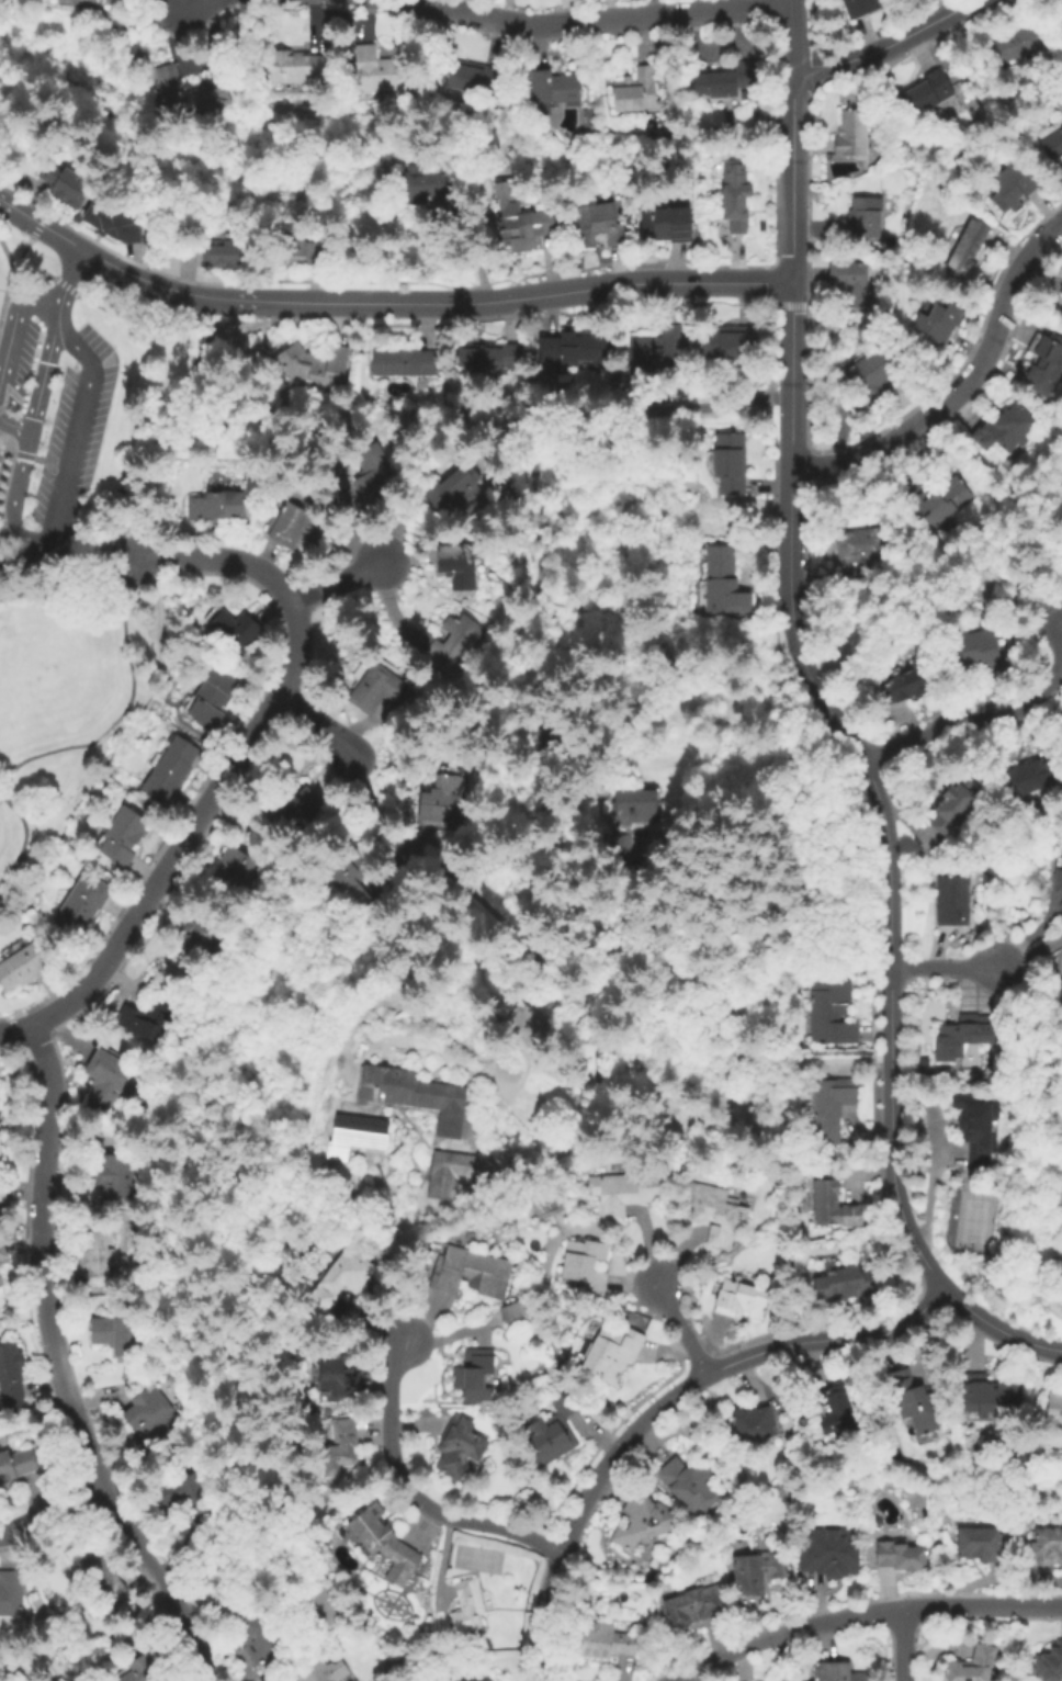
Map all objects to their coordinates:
road: (181, 1)
road: (190, 1)
building: (88, 3)
building: (860, 8)
building: (1061, 13)
road: (594, 18)
road: (789, 32)
road: (884, 45)
building: (1014, 45)
building: (298, 69)
building: (383, 74)
building: (476, 80)
building: (721, 80)
building: (549, 91)
building: (637, 92)
building: (927, 92)
building: (190, 95)
building: (745, 95)
building: (588, 123)
building: (851, 134)
building: (1053, 145)
road: (790, 174)
building: (68, 185)
building: (1012, 187)
building: (421, 189)
building: (733, 196)
building: (521, 214)
building: (862, 218)
building: (110, 221)
building: (666, 224)
building: (600, 225)
road: (13, 238)
building: (229, 249)
building: (309, 249)
building: (967, 250)
road: (12, 263)
road: (70, 277)
building: (850, 283)
building: (1061, 292)
road: (383, 303)
building: (939, 323)
road: (53, 328)
building: (728, 342)
building: (579, 348)
building: (655, 352)
building: (489, 359)
building: (404, 363)
building: (314, 364)
building: (1046, 366)
road: (789, 374)
building: (871, 376)
building: (1061, 379)
road: (962, 384)
parking lot: (61, 414)
building: (1005, 429)
road: (148, 444)
road: (5, 459)
building: (730, 463)
building: (372, 471)
road: (63, 496)
building: (455, 497)
building: (940, 504)
building: (217, 507)
building: (294, 526)
road: (8, 539)
road: (4, 548)
building: (863, 550)
road: (25, 556)
building: (456, 563)
road: (26, 567)
road: (337, 579)
road: (1051, 582)
building: (725, 584)
building: (235, 631)
building: (451, 646)
building: (975, 653)
building: (910, 684)
building: (376, 689)
park: (70, 691)
building: (213, 698)
road: (126, 701)
road: (988, 714)
road: (315, 722)
building: (170, 769)
road: (231, 769)
building: (1030, 778)
road: (4, 783)
building: (442, 800)
building: (291, 802)
building: (954, 805)
building: (637, 811)
building: (123, 836)
road: (24, 838)
building: (619, 847)
building: (233, 872)
building: (1058, 882)
building: (349, 887)
building: (952, 901)
building: (82, 904)
building: (201, 936)
road: (889, 941)
building: (24, 966)
road: (941, 969)
building: (832, 1011)
building: (523, 1017)
building: (151, 1019)
building: (964, 1035)
building: (106, 1076)
building: (416, 1096)
building: (831, 1112)
building: (976, 1128)
building: (355, 1135)
building: (0, 1155)
building: (447, 1170)
building: (114, 1176)
building: (2, 1191)
building: (632, 1193)
building: (834, 1201)
building: (715, 1212)
park: (971, 1220)
building: (2, 1251)
building: (95, 1257)
building: (585, 1264)
building: (0, 1265)
building: (471, 1273)
building: (340, 1279)
building: (1, 1282)
building: (844, 1282)
building: (741, 1300)
building: (516, 1313)
road: (686, 1330)
building: (115, 1334)
building: (611, 1352)
road: (59, 1366)
road: (718, 1367)
building: (11, 1373)
building: (474, 1375)
building: (331, 1377)
building: (986, 1395)
building: (915, 1402)
building: (1054, 1406)
building: (838, 1412)
building: (151, 1414)
building: (754, 1423)
building: (554, 1431)
building: (460, 1448)
building: (339, 1455)
building: (16, 1465)
building: (688, 1483)
road: (410, 1492)
building: (181, 1494)
road: (54, 1511)
building: (643, 1522)
building: (384, 1544)
building: (982, 1544)
building: (1044, 1548)
building: (901, 1556)
building: (831, 1558)
building: (757, 1571)
building: (102, 1579)
building: (11, 1593)
road: (545, 1598)
road: (981, 1604)
building: (693, 1605)
building: (467, 1606)
road: (780, 1632)
building: (257, 1636)
building: (606, 1641)
road: (901, 1644)
building: (1046, 1665)
building: (973, 1666)
road: (543, 1668)
building: (145, 1670)
building: (323, 1672)
building: (839, 1672)
building: (474, 1678)

